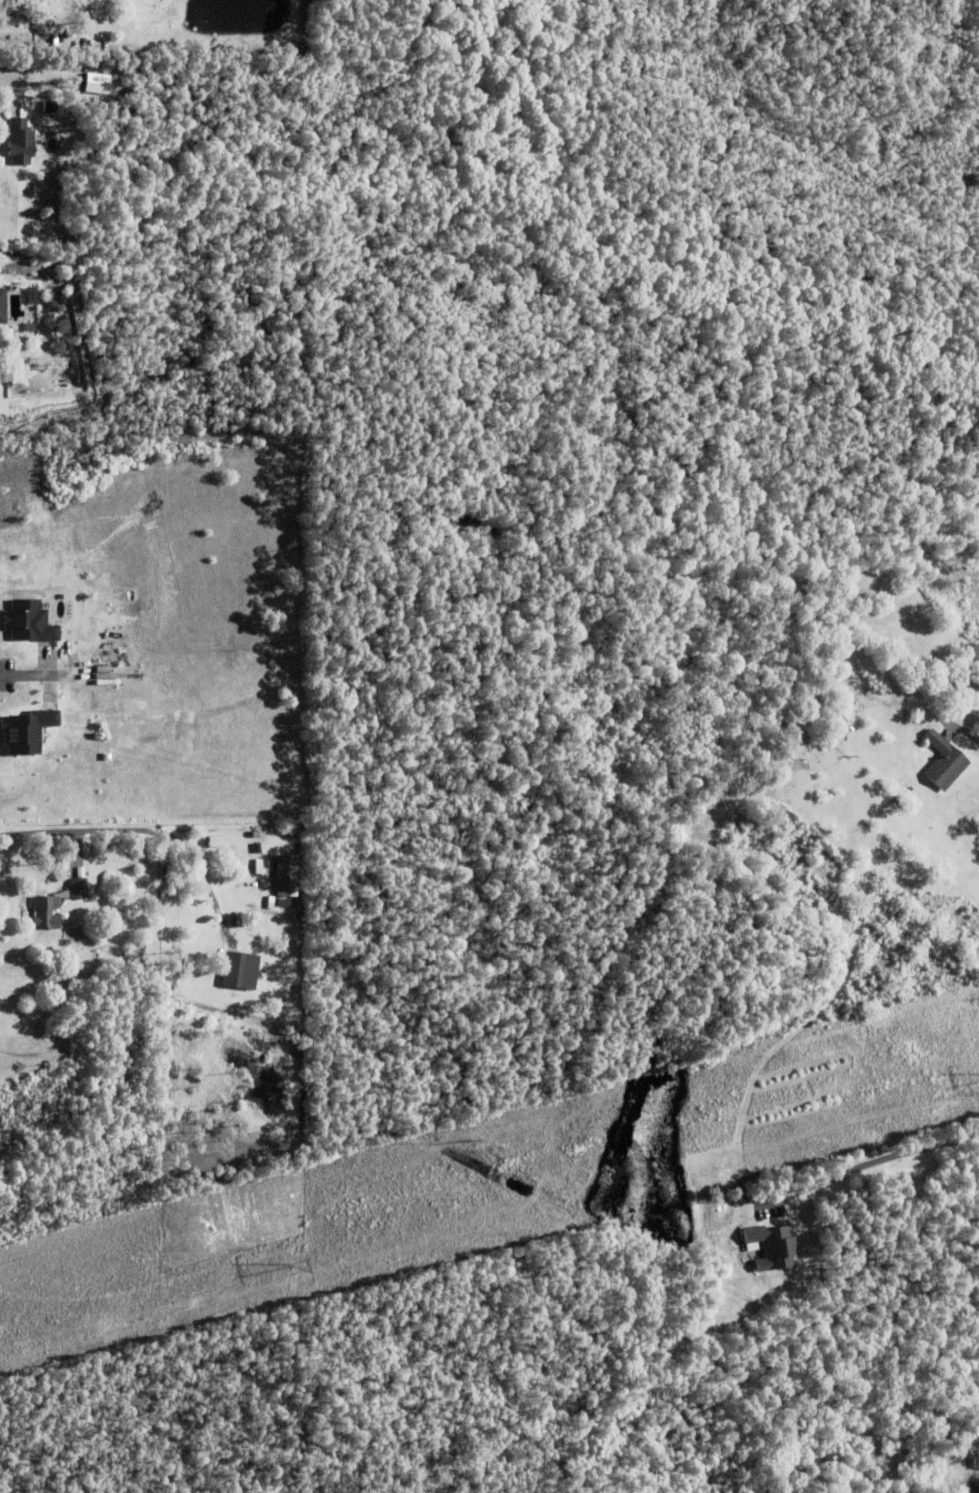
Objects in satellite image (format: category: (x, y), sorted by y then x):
road: (11, 88)
building: (50, 107)
building: (20, 143)
building: (1, 316)
building: (31, 621)
road: (25, 674)
building: (835, 713)
building: (31, 730)
building: (943, 759)
building: (904, 770)
building: (893, 798)
road: (132, 829)
building: (288, 873)
building: (55, 902)
building: (239, 967)
building: (0, 999)
road: (862, 1166)
building: (773, 1246)
power tower: (287, 1265)
building: (877, 1458)
building: (976, 1462)
building: (857, 1472)

